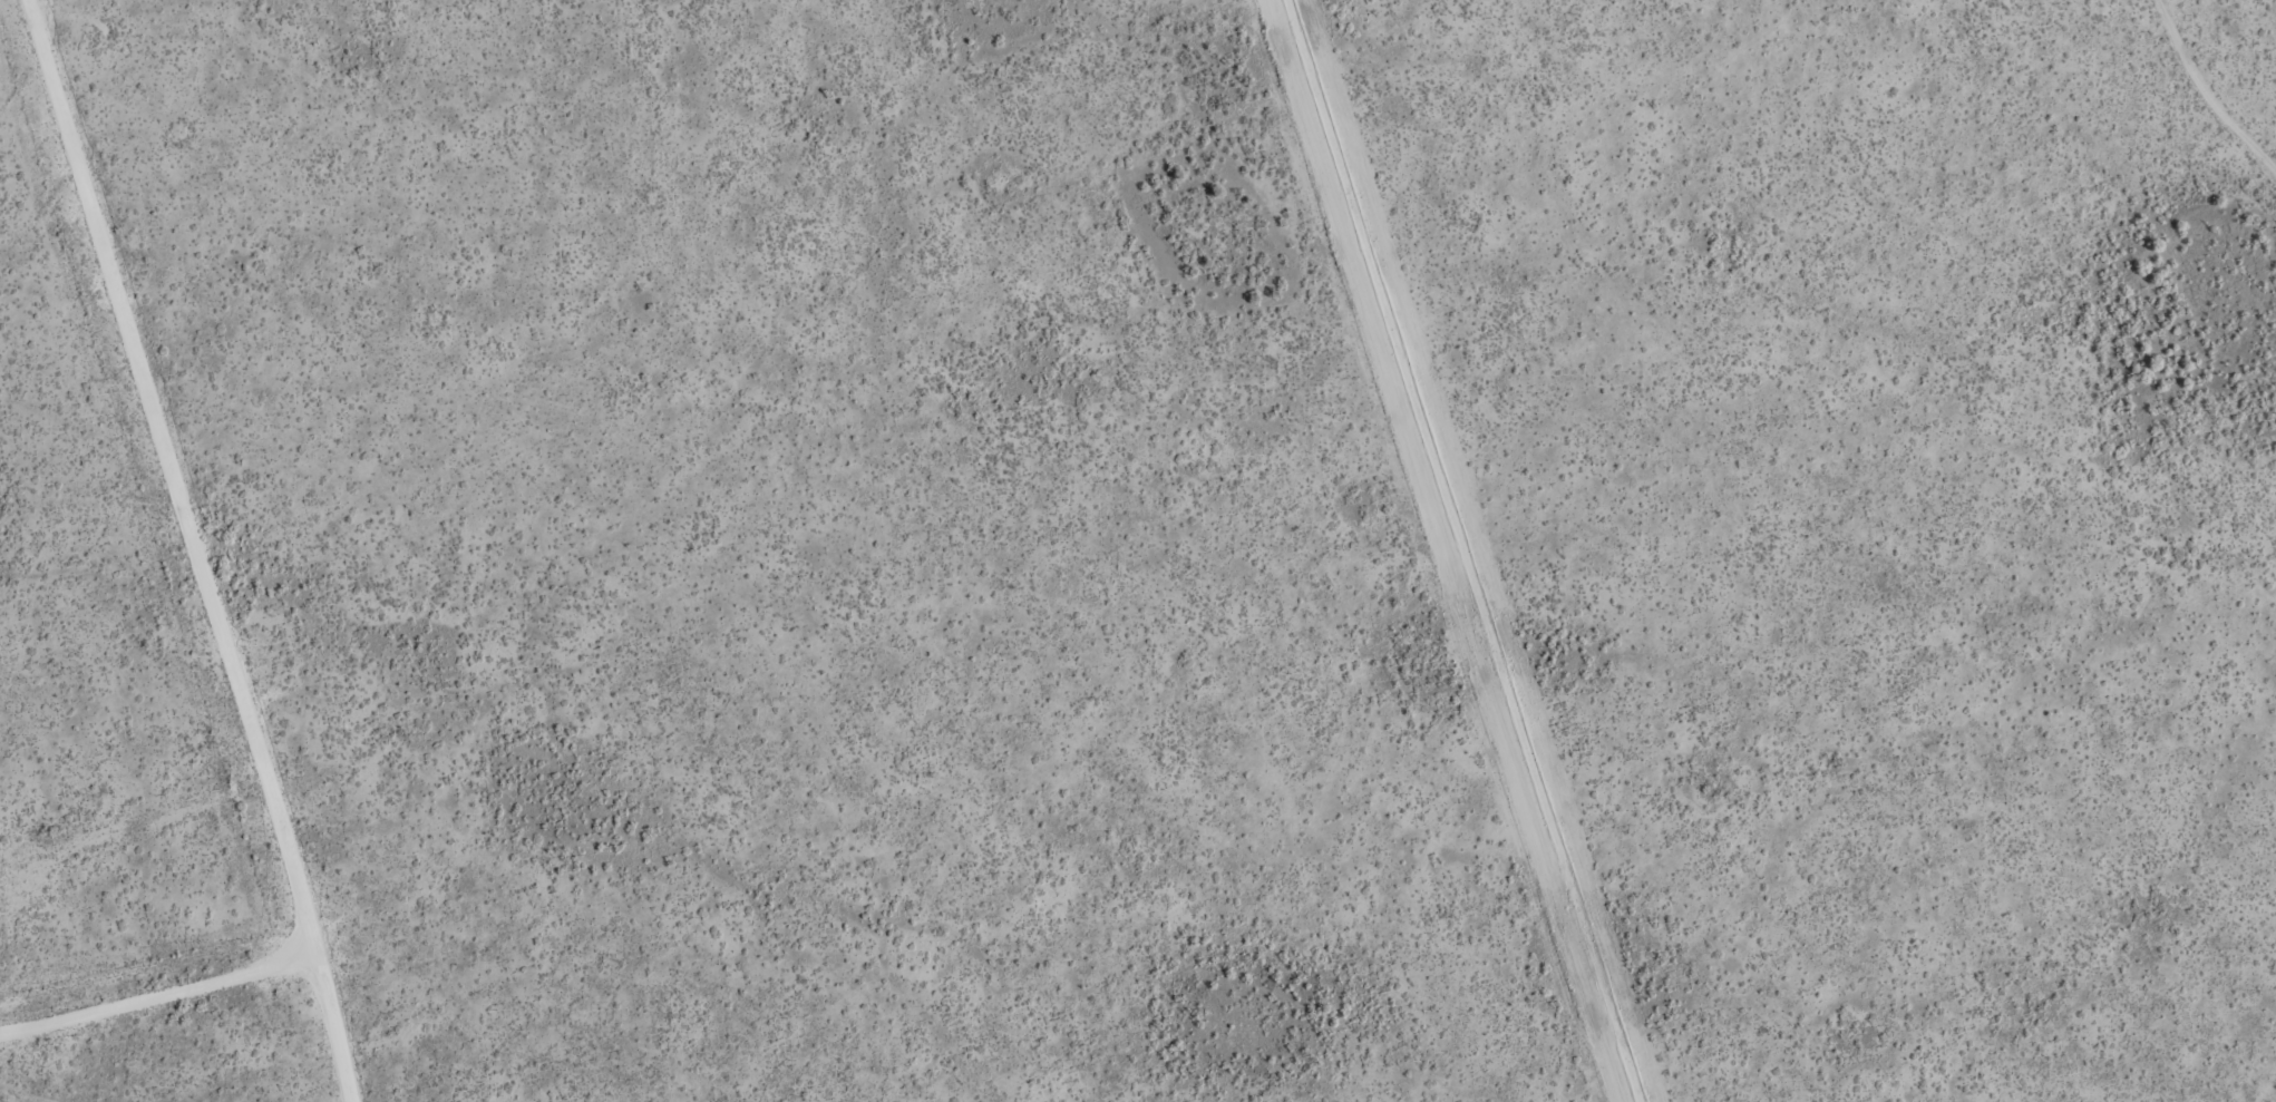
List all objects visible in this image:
road: (2211, 109)
road: (192, 549)
road: (156, 996)

